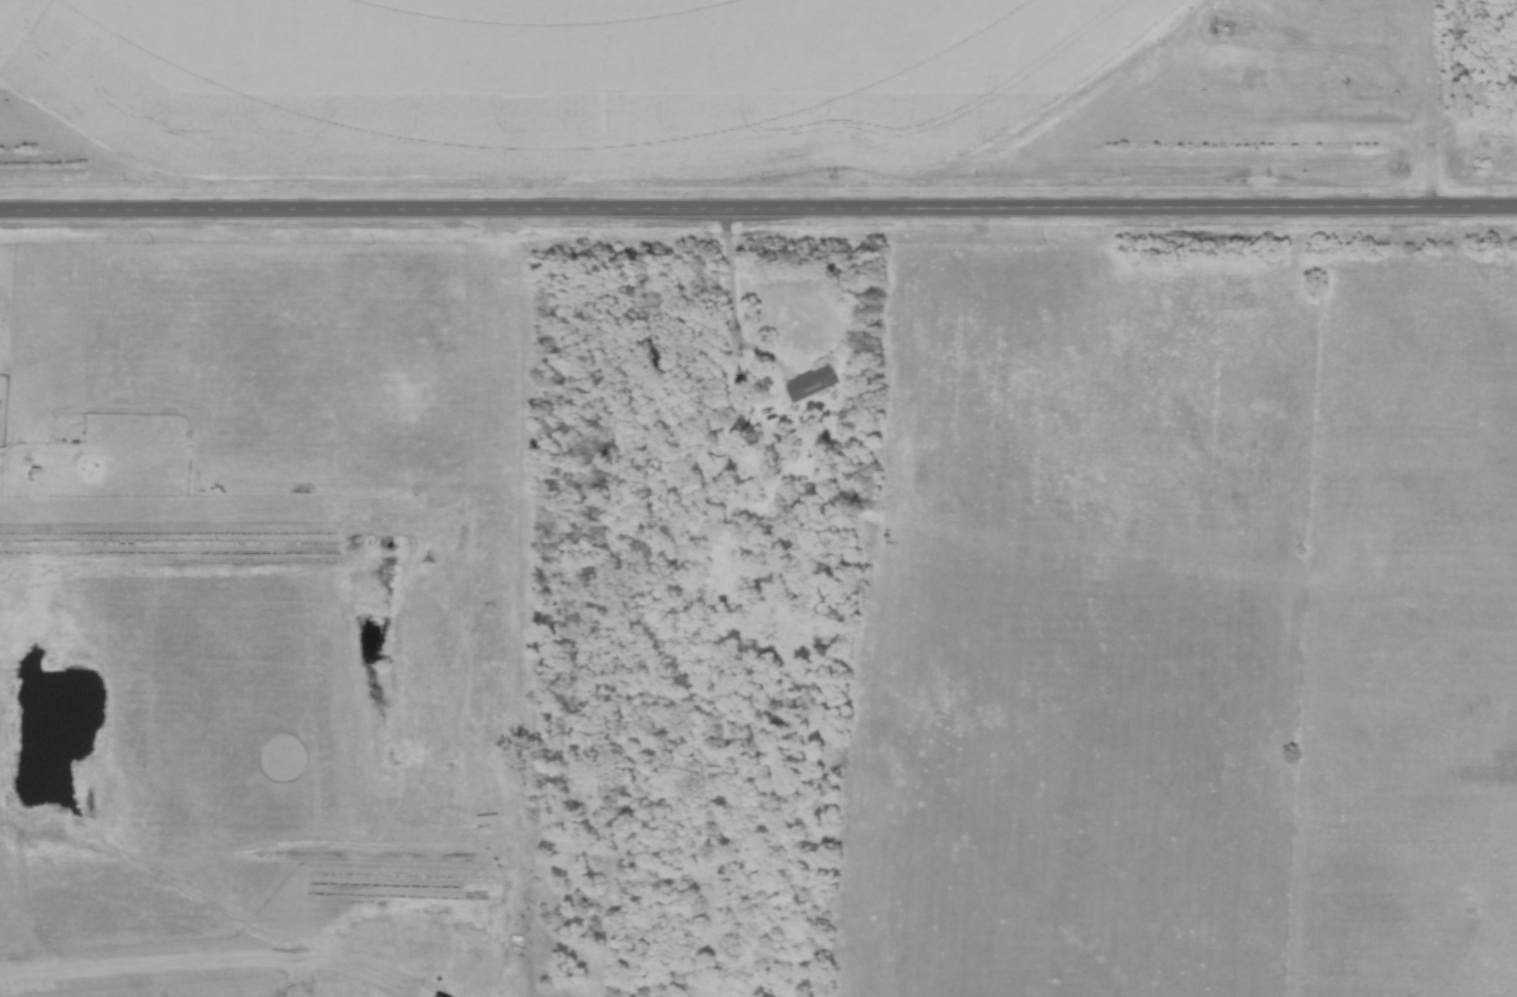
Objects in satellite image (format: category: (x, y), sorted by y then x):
road: (758, 207)
road: (730, 305)
building: (814, 384)
building: (714, 470)

